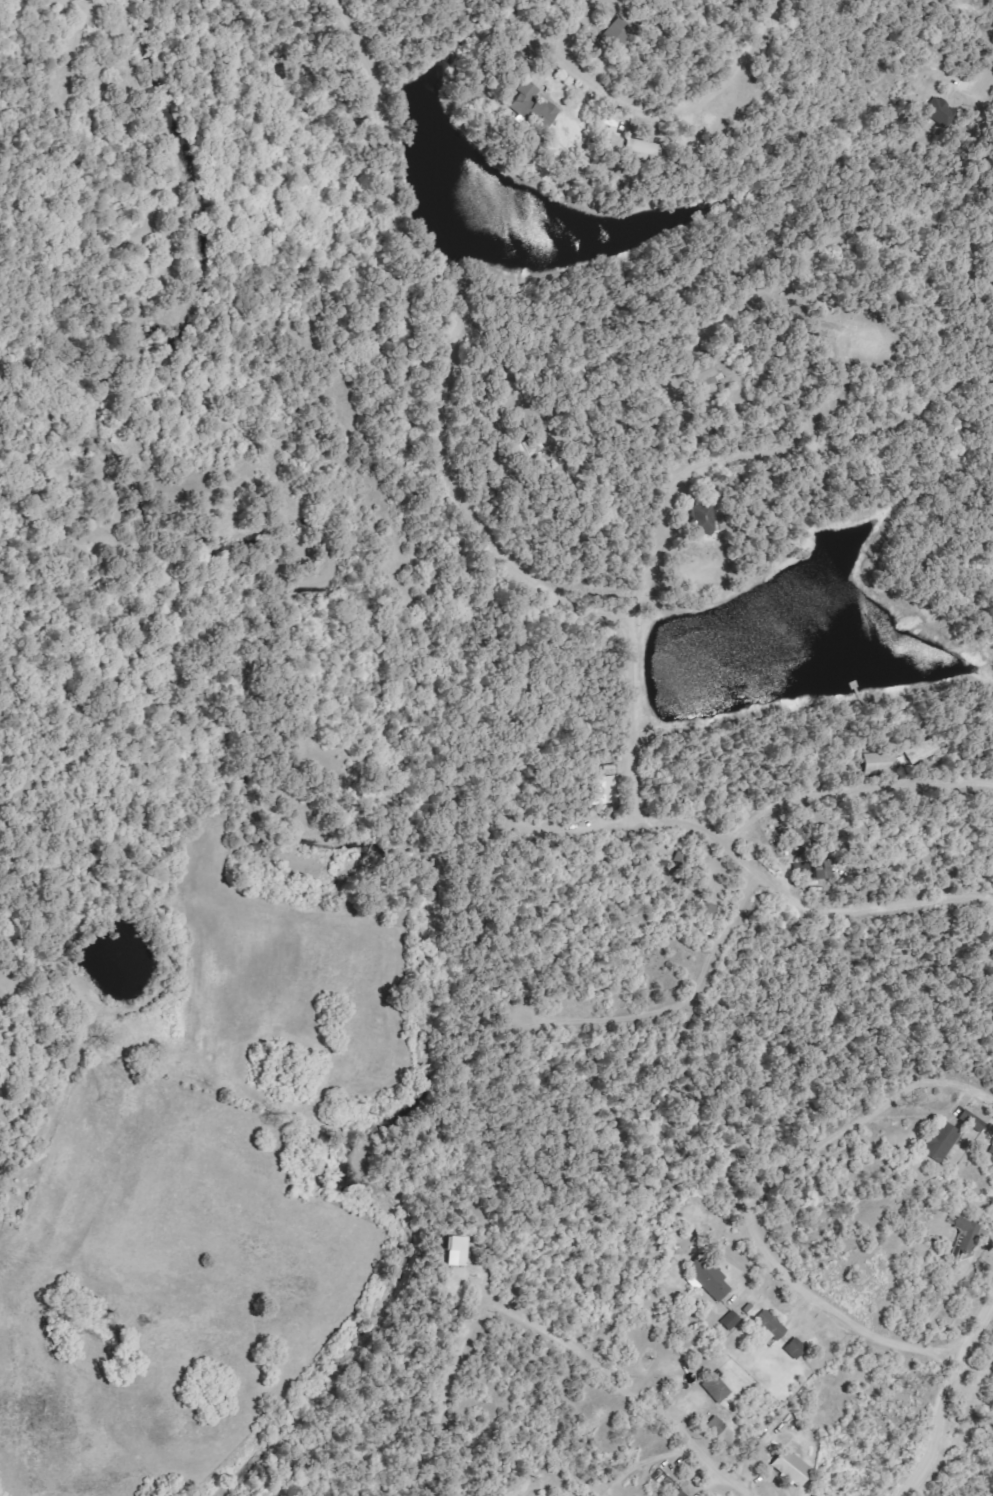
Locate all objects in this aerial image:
road: (983, 66)
road: (688, 103)
building: (547, 112)
road: (735, 281)
road: (456, 338)
road: (756, 429)
building: (703, 518)
road: (638, 760)
road: (858, 783)
road: (857, 903)
road: (679, 997)
road: (9, 1049)
building: (945, 1140)
road: (757, 1200)
building: (968, 1232)
building: (720, 1288)
building: (731, 1319)
building: (775, 1325)
road: (468, 1335)
road: (625, 1381)
building: (719, 1386)
road: (948, 1393)
building: (797, 1467)

